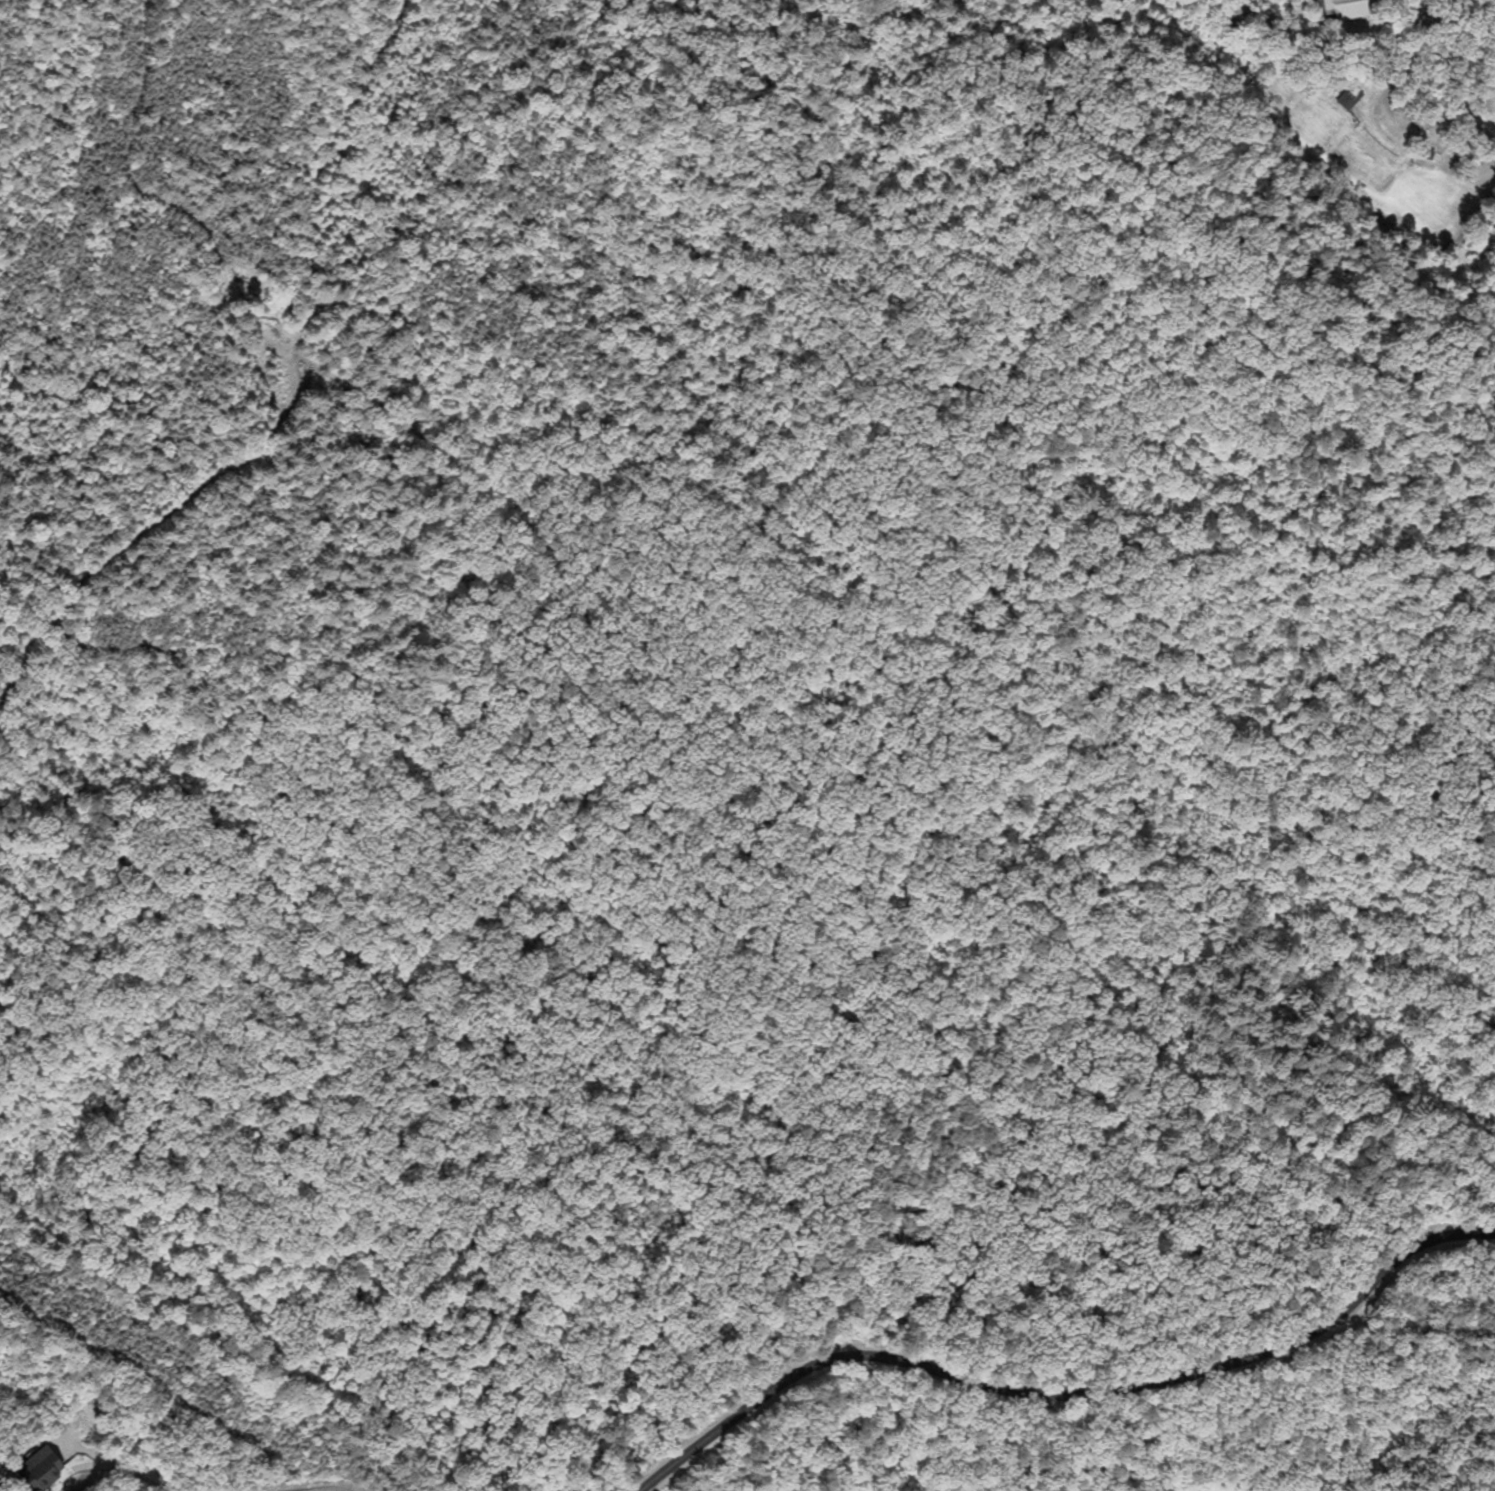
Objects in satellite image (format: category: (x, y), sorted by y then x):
building: (1346, 9)
road: (1056, 1380)
building: (41, 1469)
road: (313, 1487)

